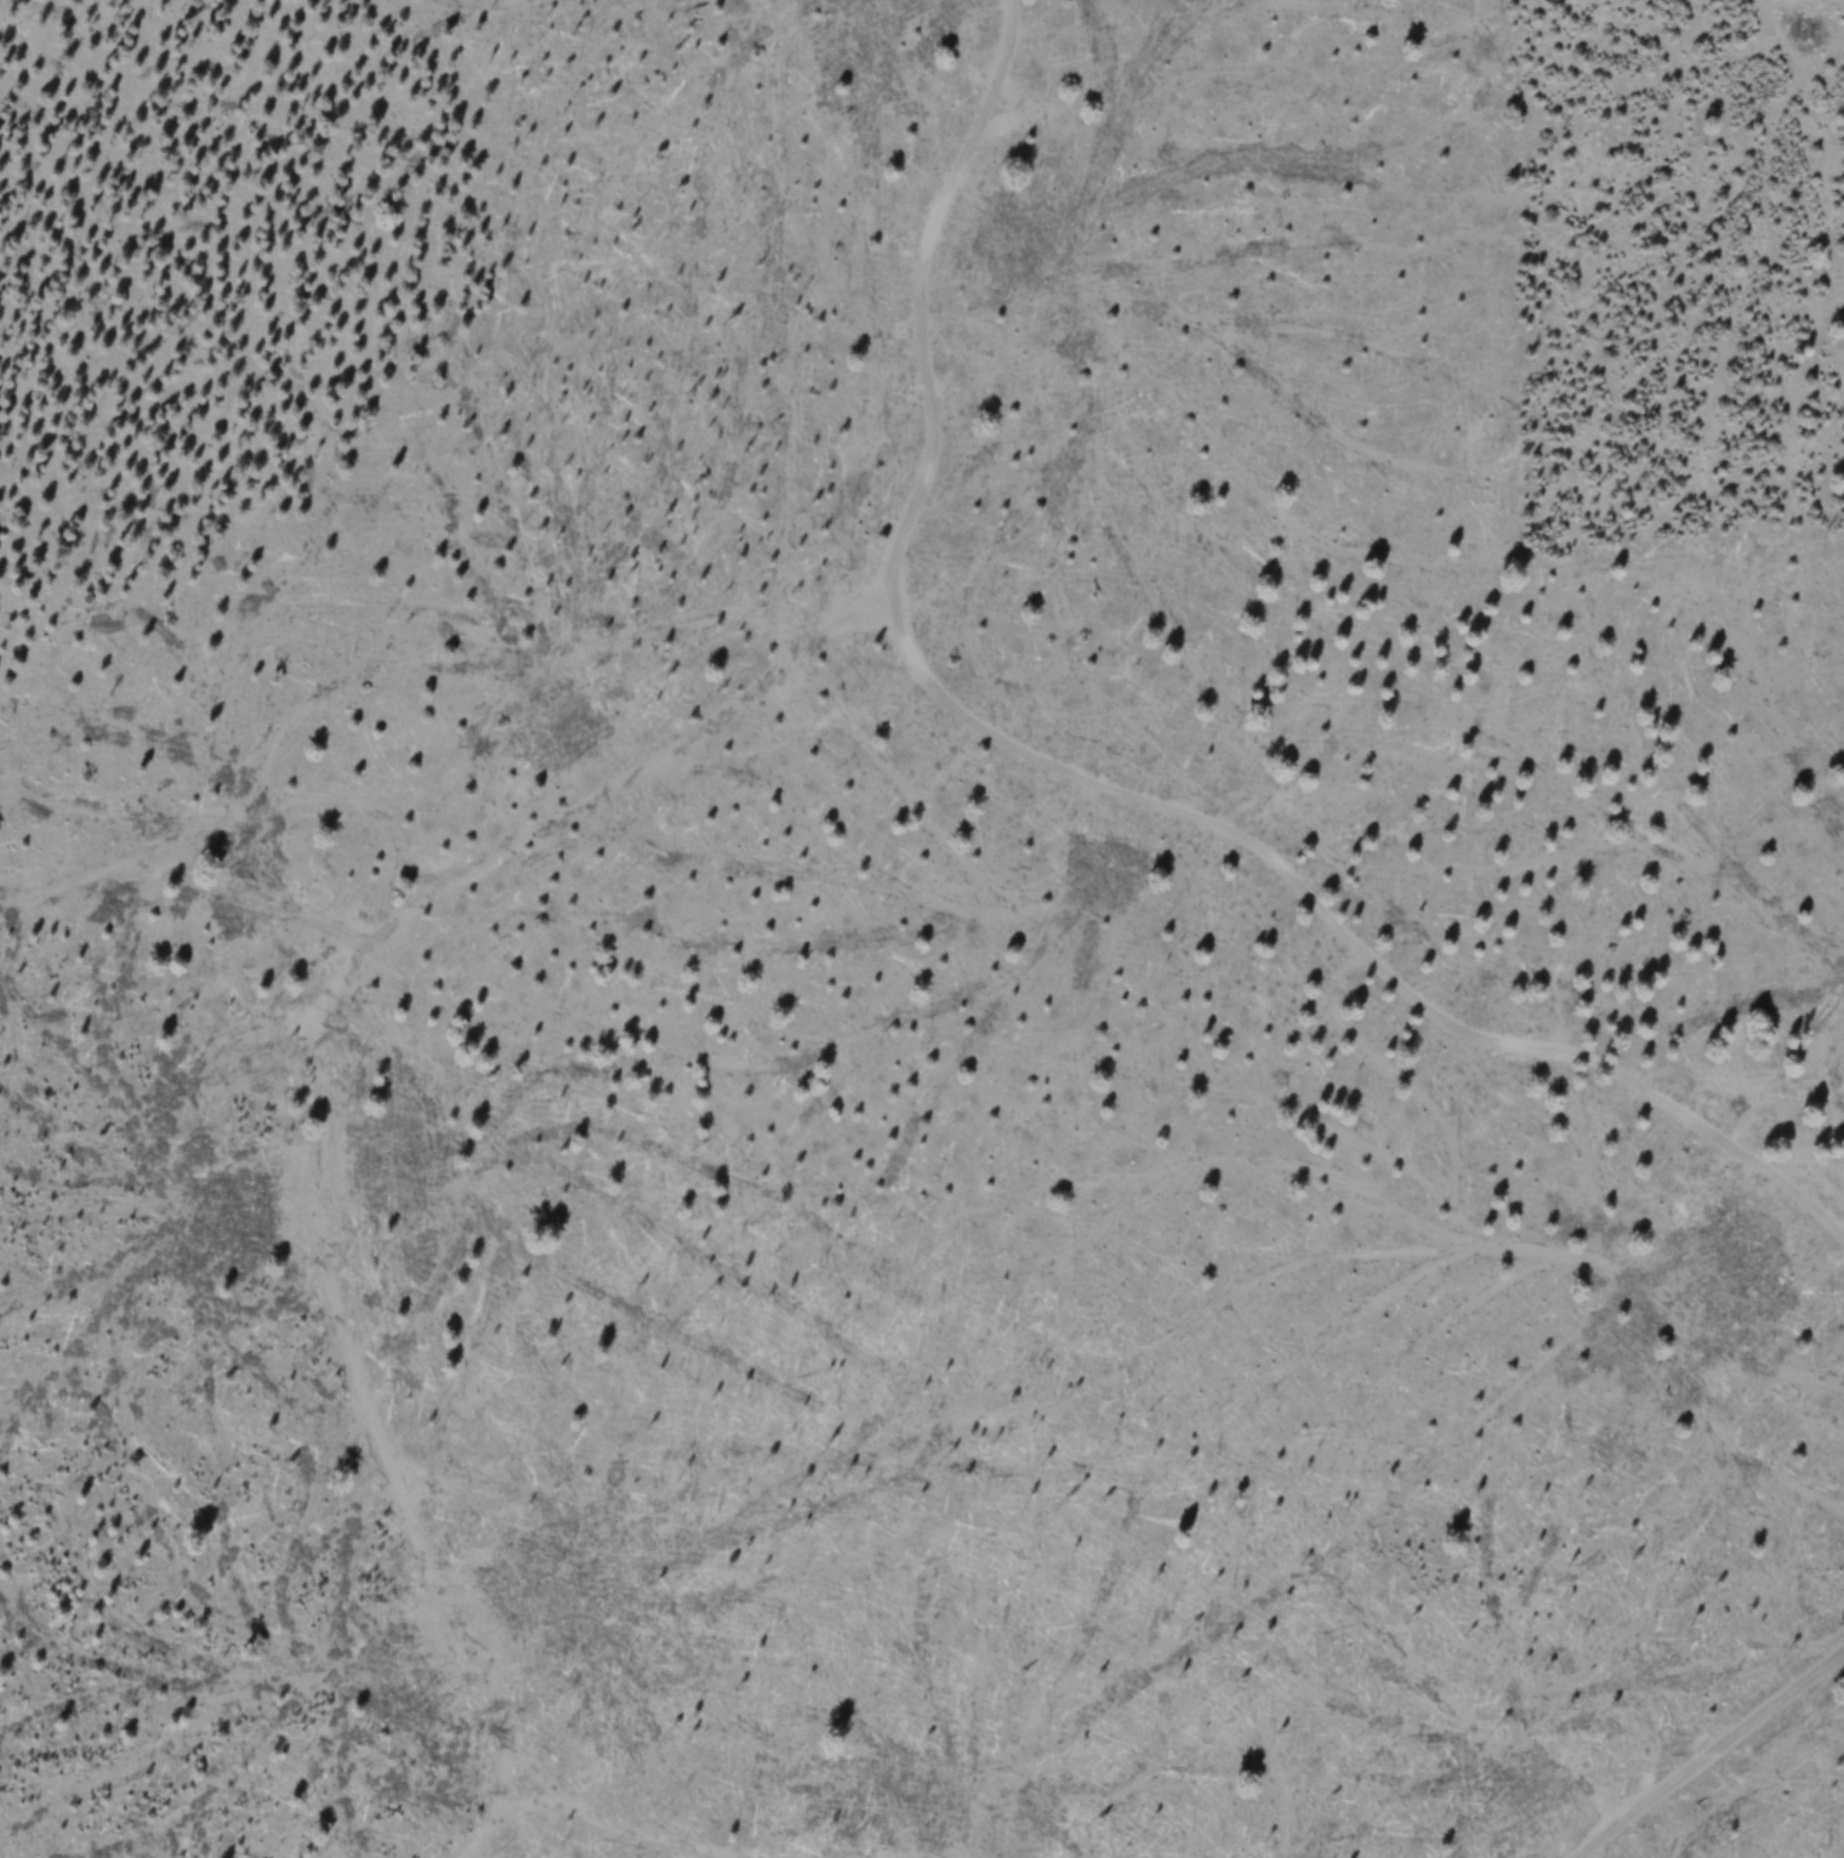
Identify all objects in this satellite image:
road: (1082, 780)
road: (554, 836)
road: (1712, 1760)

